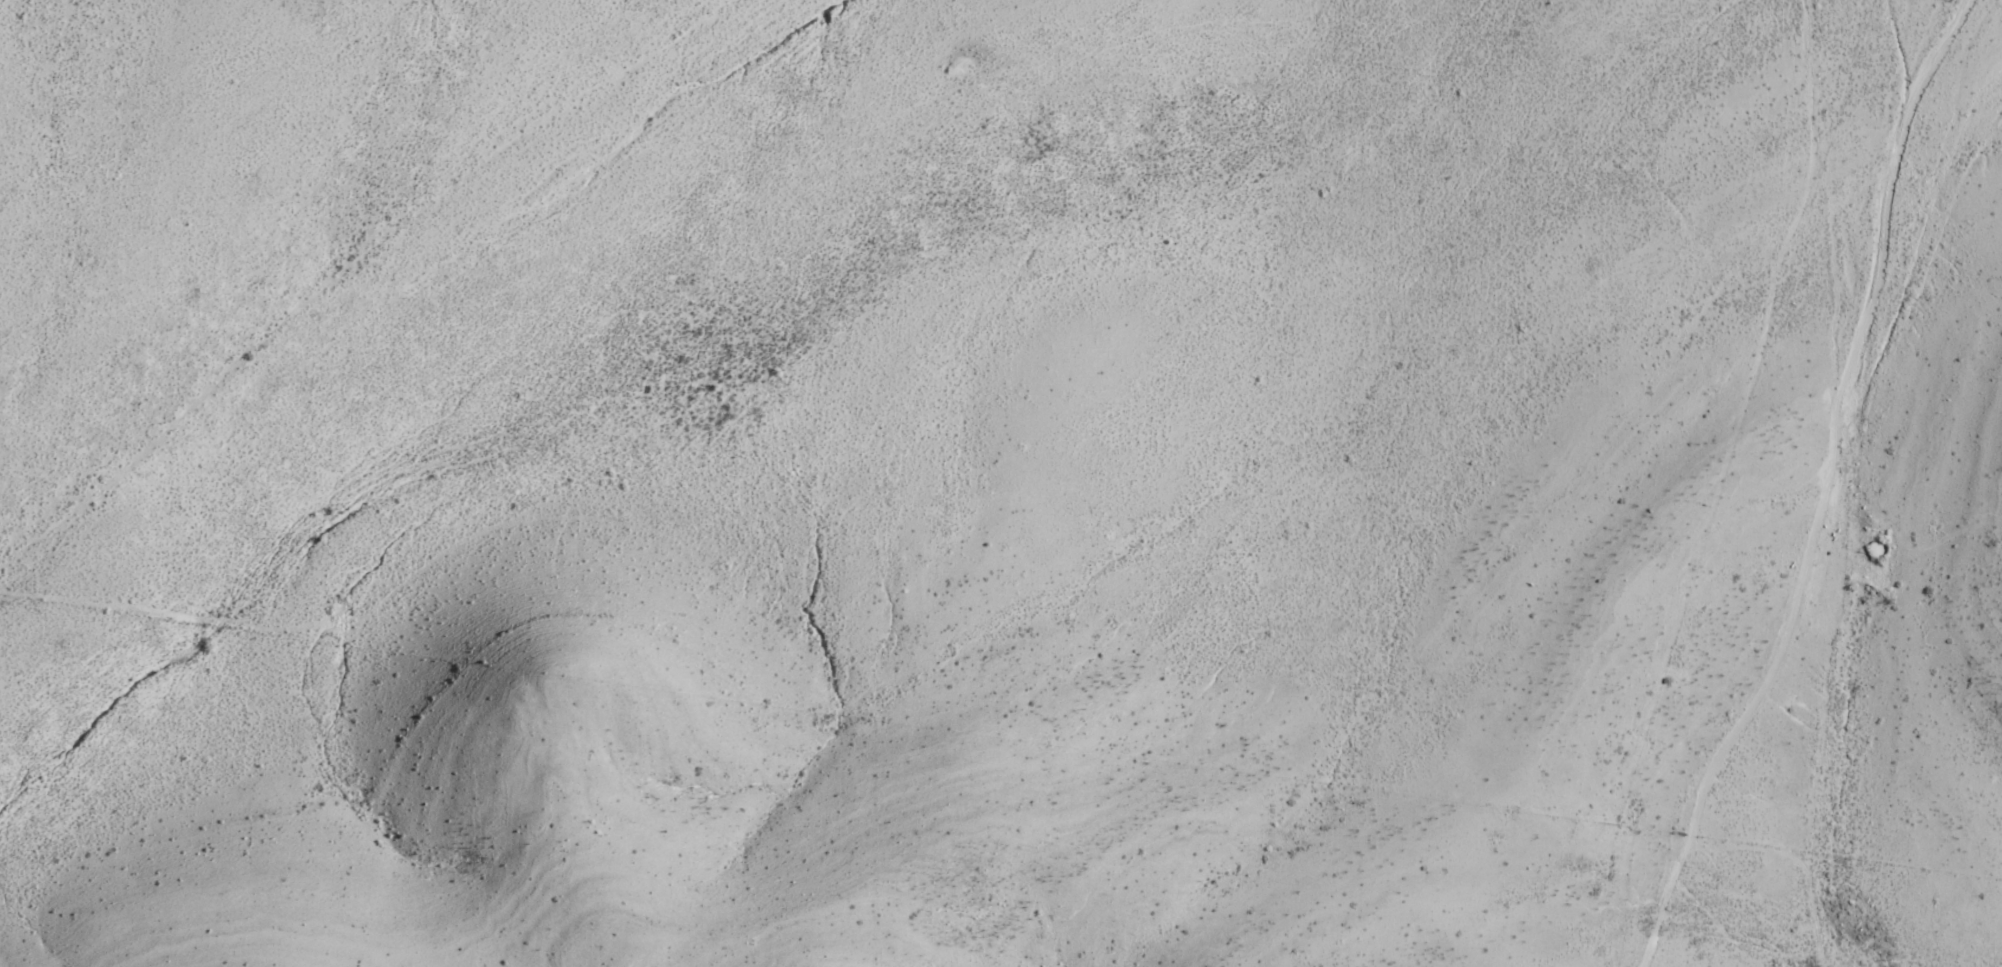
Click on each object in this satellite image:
road: (1821, 489)
road: (1700, 933)

